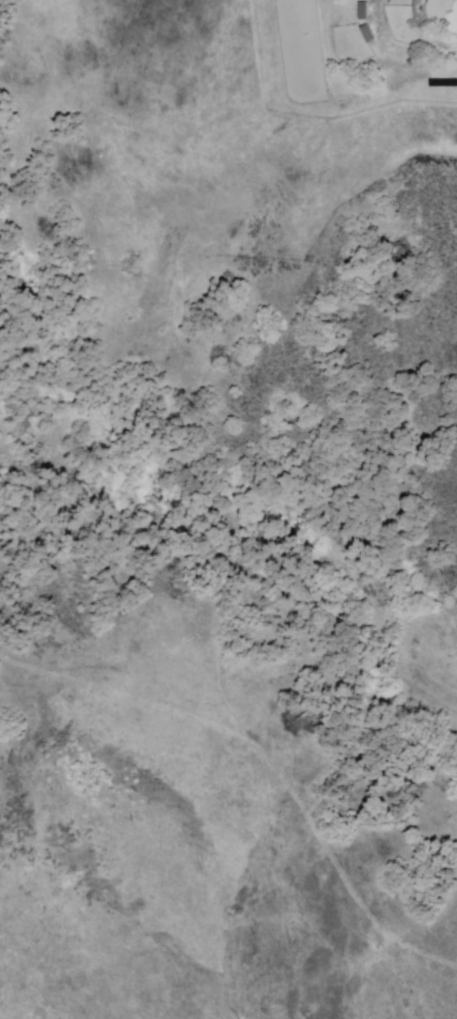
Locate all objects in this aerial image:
building: (363, 11)
building: (443, 14)
building: (366, 34)

